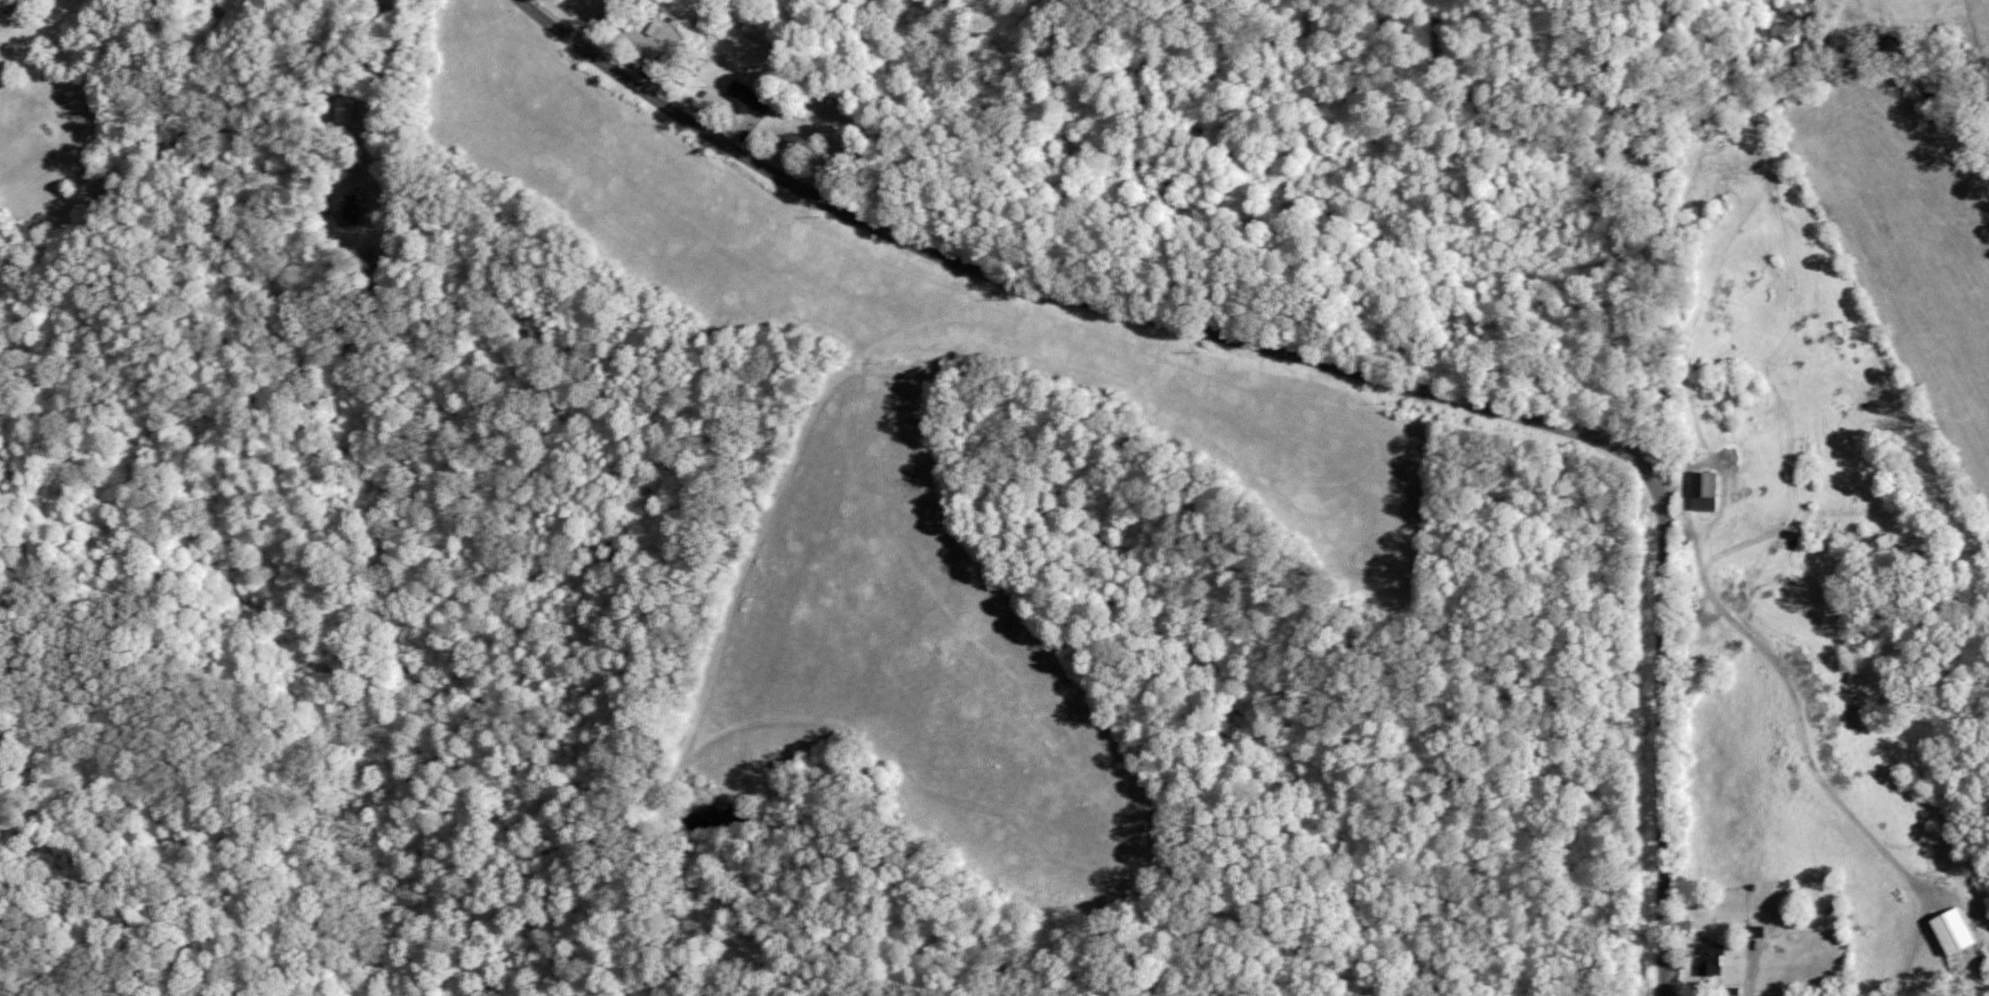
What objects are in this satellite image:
building: (1, 1)
road: (377, 82)
building: (749, 98)
building: (345, 109)
road: (1660, 172)
building: (347, 206)
road: (1311, 362)
building: (1705, 490)
building: (1953, 931)
building: (1710, 959)

